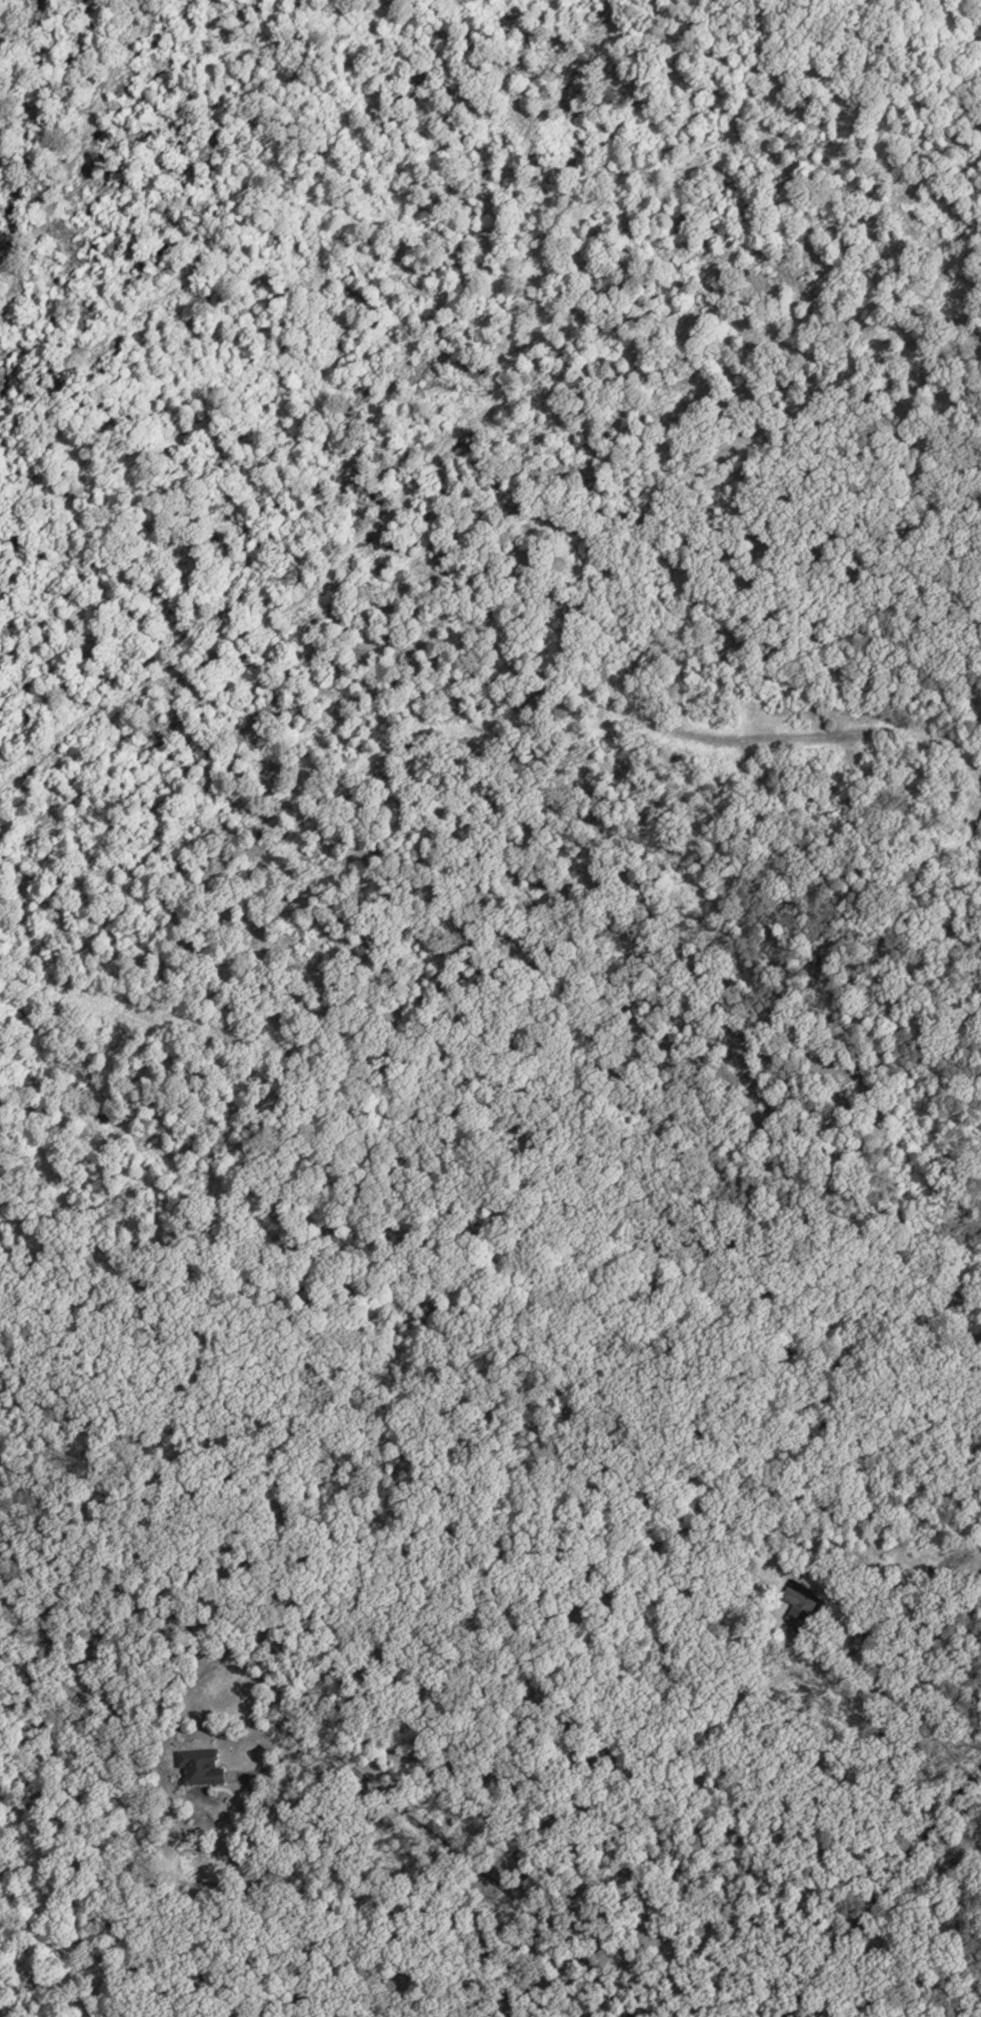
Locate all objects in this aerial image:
road: (885, 1892)

